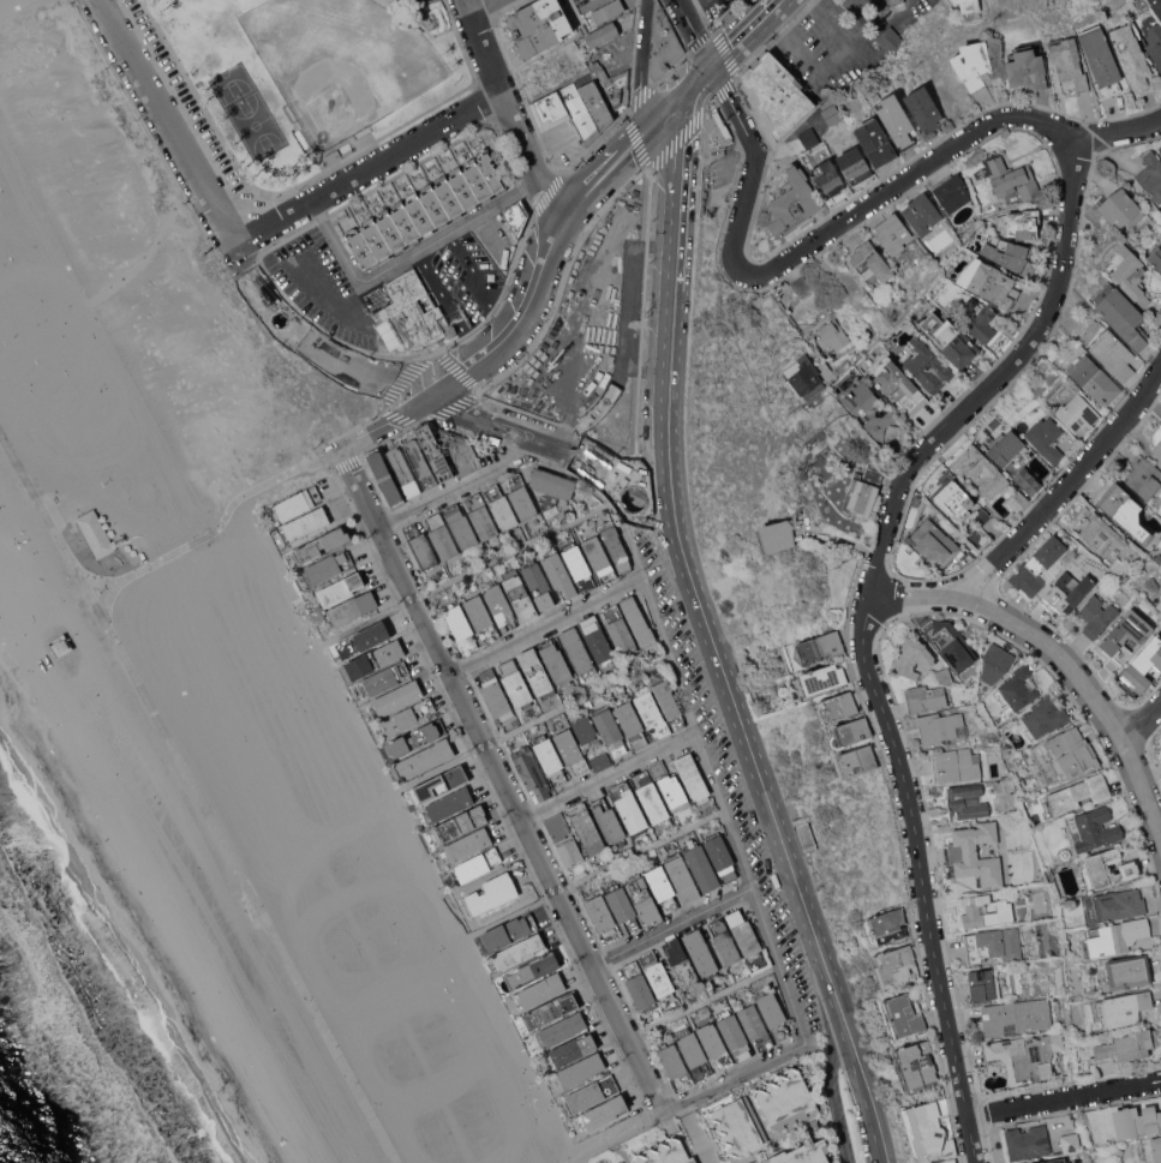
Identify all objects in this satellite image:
building: (958, 2)
road: (477, 4)
building: (969, 5)
building: (1156, 6)
building: (608, 10)
building: (875, 14)
building: (539, 25)
road: (695, 32)
road: (747, 32)
building: (602, 34)
building: (890, 40)
building: (1155, 42)
building: (663, 43)
building: (586, 55)
building: (1133, 59)
road: (824, 60)
building: (1101, 60)
park: (341, 61)
road: (642, 62)
building: (1069, 62)
building: (974, 64)
traffic signals: (713, 65)
building: (596, 66)
building: (1027, 68)
park: (312, 73)
road: (693, 85)
building: (614, 86)
building: (777, 94)
building: (596, 101)
traffic signals: (674, 106)
building: (923, 108)
road: (509, 110)
building: (551, 110)
building: (580, 112)
park: (251, 113)
building: (832, 113)
road: (663, 114)
building: (897, 120)
parking lot: (198, 122)
traffic signals: (653, 124)
building: (716, 136)
building: (875, 142)
building: (1160, 148)
building: (347, 151)
building: (317, 155)
building: (333, 156)
road: (752, 164)
building: (855, 164)
road: (366, 168)
building: (1151, 175)
building: (828, 178)
road: (904, 178)
building: (1012, 178)
building: (952, 191)
building: (794, 202)
building: (1120, 209)
building: (426, 210)
building: (921, 212)
building: (515, 218)
building: (1019, 223)
building: (893, 233)
road: (225, 235)
building: (1009, 253)
road: (408, 256)
building: (1155, 257)
road: (144, 258)
building: (872, 264)
road: (544, 266)
building: (1131, 275)
building: (991, 282)
road: (479, 283)
building: (801, 284)
park: (30, 288)
road: (778, 302)
road: (674, 304)
building: (414, 314)
building: (1121, 314)
building: (1154, 316)
building: (983, 323)
building: (832, 334)
building: (951, 337)
road: (626, 340)
road: (1030, 344)
building: (1108, 349)
building: (926, 364)
road: (647, 367)
building: (806, 376)
building: (1096, 380)
building: (897, 383)
building: (869, 409)
building: (1077, 412)
road: (383, 422)
building: (861, 437)
building: (1047, 438)
road: (540, 440)
building: (1005, 446)
building: (1157, 448)
building: (435, 450)
building: (459, 450)
building: (420, 462)
building: (981, 469)
building: (403, 472)
building: (802, 473)
building: (873, 473)
building: (385, 476)
building: (1144, 476)
building: (1028, 480)
park: (142, 486)
building: (551, 486)
road: (1067, 486)
road: (459, 487)
building: (860, 497)
building: (522, 498)
building: (954, 498)
building: (1018, 499)
building: (295, 503)
building: (501, 506)
road: (654, 506)
building: (551, 510)
building: (1124, 510)
building: (981, 516)
building: (483, 518)
building: (305, 524)
building: (461, 526)
road: (215, 528)
road: (813, 532)
building: (96, 533)
building: (1101, 533)
building: (777, 535)
building: (442, 536)
road: (630, 542)
building: (323, 544)
building: (934, 544)
road: (522, 545)
building: (421, 546)
building: (616, 546)
building: (553, 547)
building: (1157, 557)
building: (599, 558)
building: (579, 565)
building: (1118, 565)
building: (328, 566)
building: (1037, 566)
building: (559, 575)
building: (538, 585)
building: (341, 588)
building: (1067, 591)
building: (520, 595)
road: (108, 599)
building: (499, 605)
building: (1159, 605)
building: (353, 607)
building: (1097, 615)
building: (481, 617)
building: (638, 621)
road: (364, 623)
road: (545, 624)
building: (461, 628)
building: (620, 629)
building: (1126, 635)
building: (365, 640)
building: (597, 641)
building: (951, 642)
building: (62, 645)
building: (820, 647)
road: (1059, 649)
building: (579, 652)
building: (912, 657)
building: (376, 659)
building: (556, 661)
building: (995, 663)
building: (1143, 664)
building: (537, 672)
building: (944, 676)
building: (824, 678)
building: (384, 679)
building: (516, 684)
building: (1017, 689)
building: (495, 694)
building: (926, 697)
building: (396, 699)
road: (576, 701)
building: (669, 701)
building: (588, 702)
building: (837, 707)
building: (651, 712)
building: (412, 713)
building: (1045, 717)
building: (632, 724)
road: (1145, 724)
building: (941, 726)
building: (585, 727)
building: (610, 730)
building: (849, 732)
building: (418, 737)
building: (571, 749)
building: (1071, 753)
building: (992, 756)
building: (425, 759)
building: (550, 759)
building: (857, 760)
building: (602, 761)
building: (957, 765)
road: (755, 767)
building: (659, 768)
road: (436, 769)
building: (532, 773)
road: (609, 775)
road: (501, 777)
building: (1016, 777)
building: (693, 778)
building: (1054, 783)
building: (437, 785)
building: (1078, 792)
building: (675, 793)
building: (651, 796)
road: (198, 798)
building: (966, 801)
building: (448, 804)
building: (1015, 805)
building: (629, 807)
road: (722, 809)
building: (609, 822)
building: (456, 826)
building: (587, 827)
building: (802, 828)
building: (1093, 828)
building: (564, 839)
building: (466, 845)
road: (640, 851)
building: (976, 853)
building: (1065, 853)
building: (722, 856)
park: (343, 858)
building: (701, 864)
building: (475, 865)
building: (1111, 867)
road: (924, 875)
building: (682, 876)
building: (663, 888)
building: (491, 893)
building: (645, 900)
building: (1114, 904)
building: (623, 909)
building: (985, 911)
road: (507, 916)
building: (604, 917)
building: (1054, 924)
road: (672, 925)
building: (886, 925)
building: (509, 931)
building: (744, 934)
building: (1115, 935)
building: (724, 941)
building: (994, 943)
building: (519, 951)
building: (701, 953)
building: (1069, 958)
building: (681, 964)
building: (894, 965)
building: (532, 970)
building: (1129, 970)
building: (657, 973)
building: (982, 983)
building: (639, 985)
building: (540, 990)
road: (704, 1001)
building: (552, 1009)
building: (1121, 1009)
building: (774, 1014)
building: (904, 1014)
building: (1017, 1015)
building: (755, 1026)
park: (408, 1029)
building: (559, 1030)
building: (734, 1033)
building: (716, 1045)
building: (1127, 1045)
building: (570, 1050)
building: (694, 1051)
building: (1025, 1055)
building: (676, 1065)
building: (916, 1065)
building: (581, 1069)
road: (735, 1074)
building: (592, 1092)
road: (834, 1095)
road: (866, 1095)
building: (785, 1097)
road: (1065, 1097)
building: (602, 1113)
building: (1137, 1121)
building: (816, 1125)
building: (737, 1126)
building: (924, 1127)
road: (694, 1132)
road: (612, 1134)
building: (1028, 1141)
building: (1071, 1141)
building: (1156, 1147)
building: (669, 1150)
building: (800, 1152)
building: (947, 1161)
building: (1053, 1161)
building: (622, 1162)

